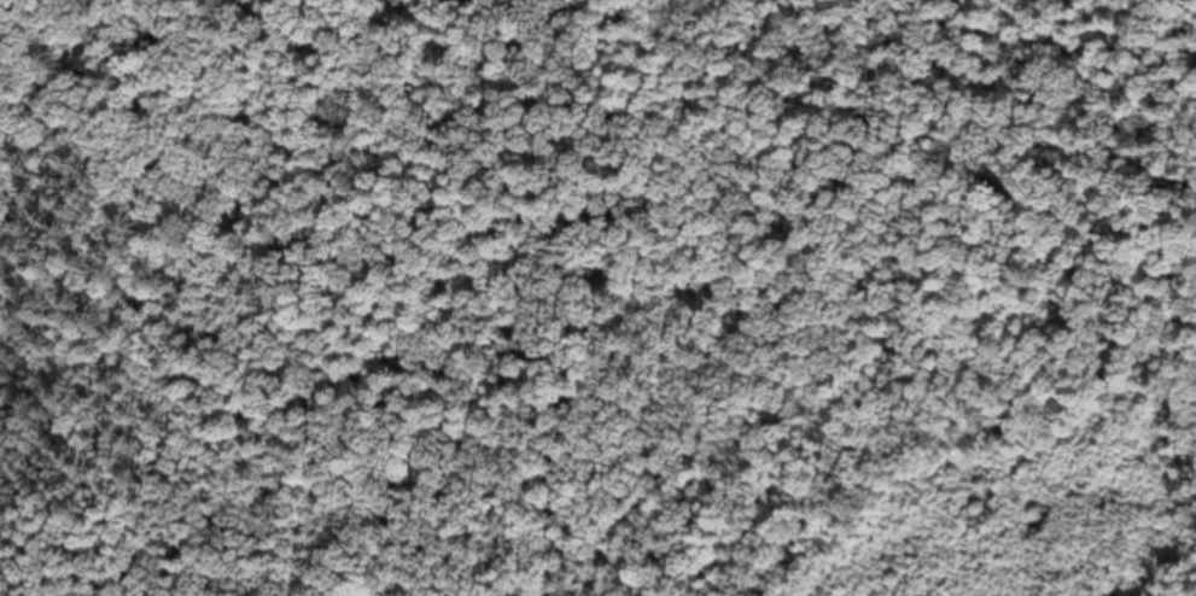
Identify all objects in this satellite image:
park: (597, 298)

